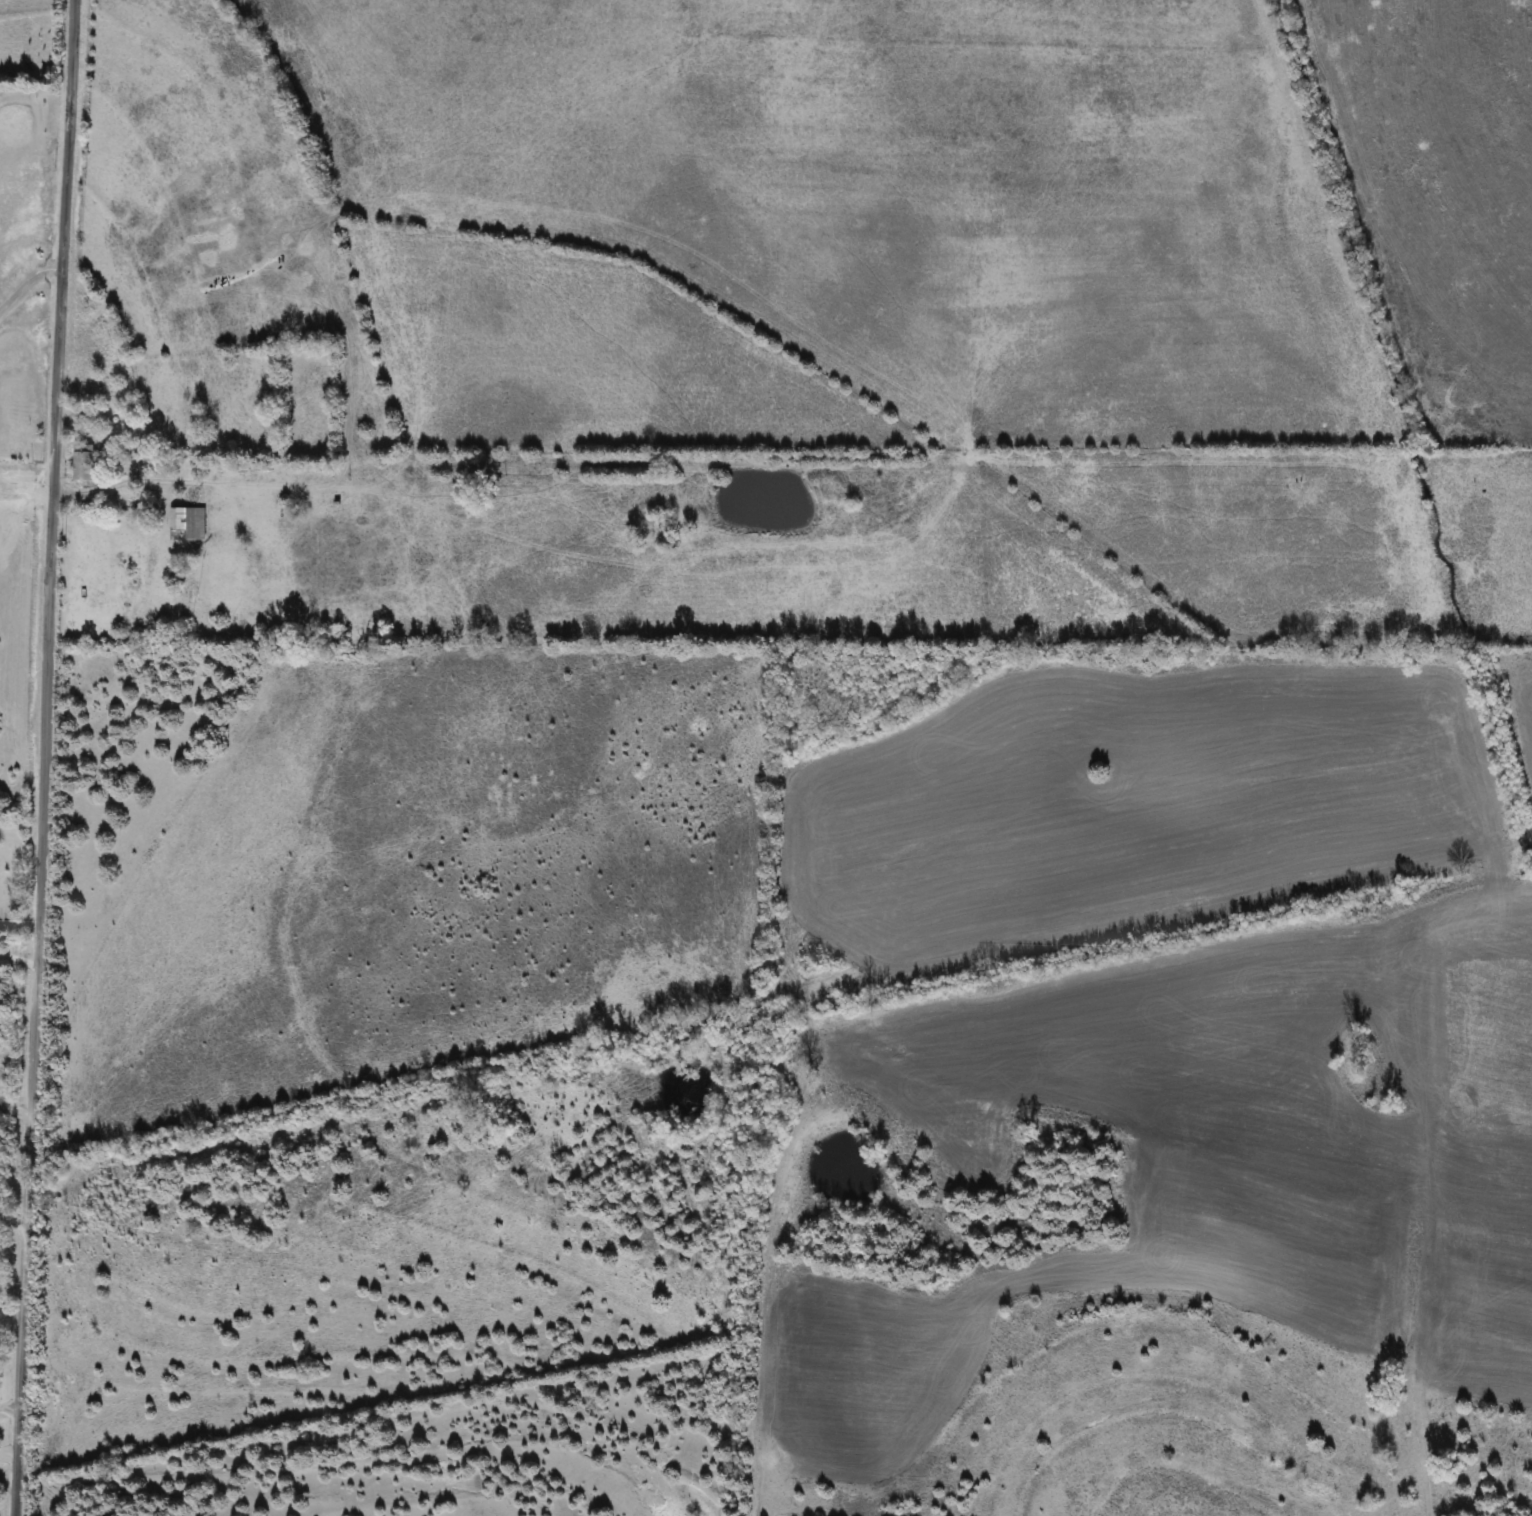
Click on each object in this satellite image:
road: (27, 284)
building: (84, 461)
road: (117, 483)
building: (190, 520)
road: (43, 758)
road: (18, 924)
road: (18, 954)
road: (15, 1091)
road: (12, 1221)
road: (9, 1409)
road: (8, 1448)

